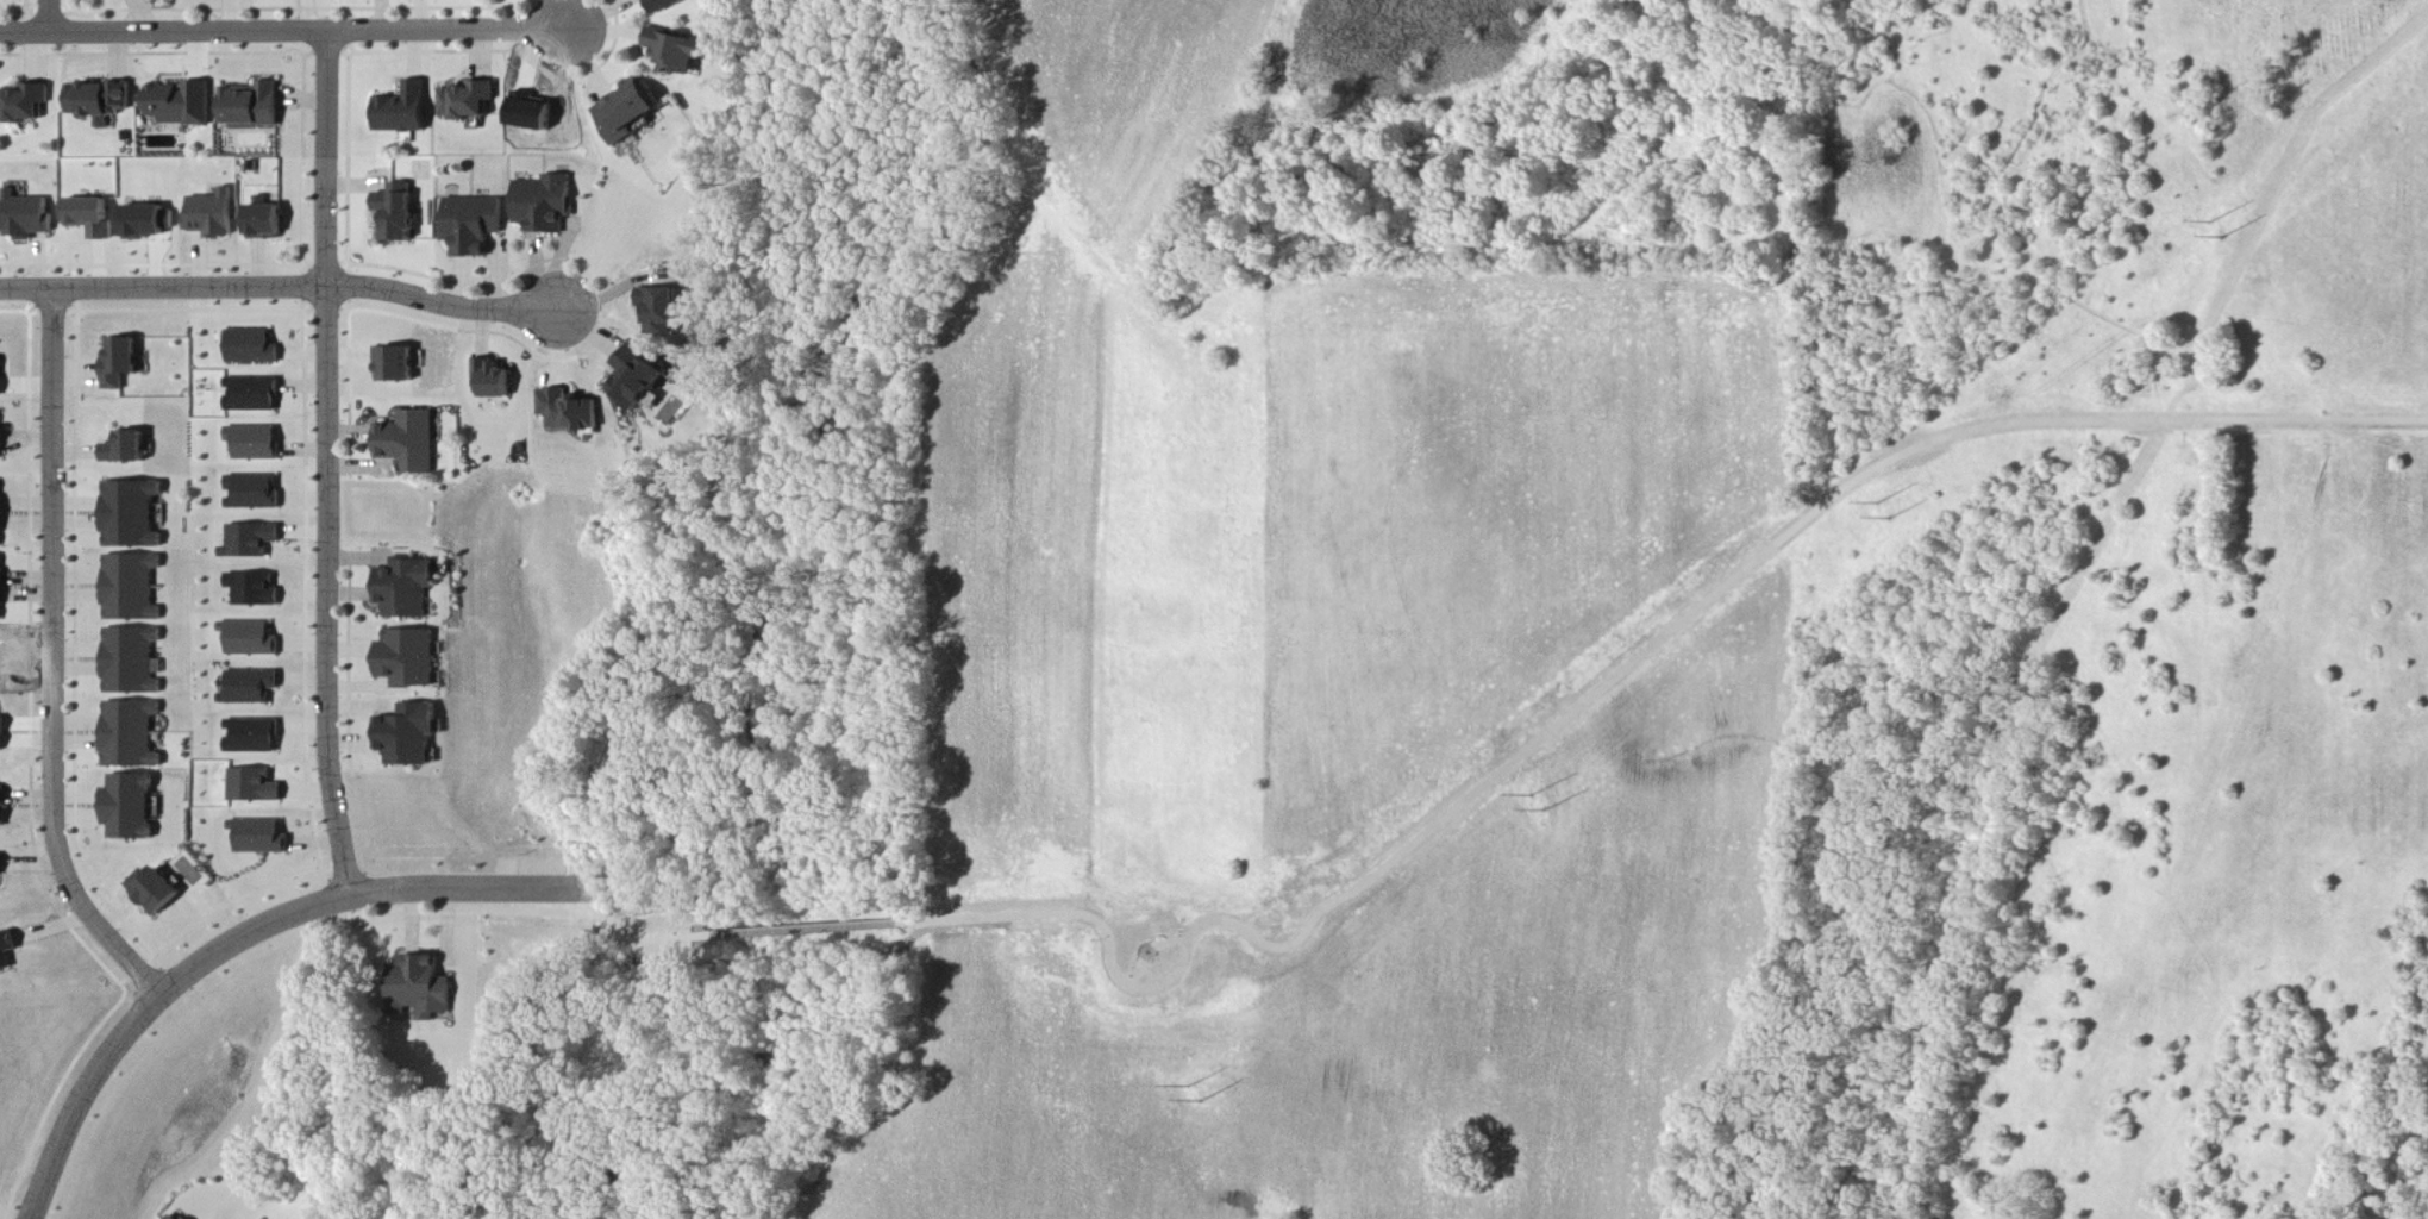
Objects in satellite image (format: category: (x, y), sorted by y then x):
road: (51, 17)
road: (284, 32)
building: (680, 51)
building: (106, 101)
building: (471, 101)
building: (27, 104)
building: (183, 105)
building: (255, 106)
building: (406, 111)
building: (631, 112)
building: (546, 204)
building: (401, 213)
building: (215, 214)
building: (32, 215)
building: (95, 217)
building: (150, 221)
building: (267, 223)
power tower: (2215, 223)
building: (475, 225)
power tower: (2229, 237)
road: (282, 288)
building: (254, 348)
building: (123, 363)
building: (399, 365)
building: (4, 376)
building: (495, 380)
building: (640, 380)
building: (254, 395)
building: (571, 412)
building: (2, 442)
building: (255, 443)
building: (412, 443)
building: (129, 449)
road: (328, 465)
building: (252, 493)
power tower: (1883, 504)
building: (2, 514)
building: (134, 515)
power tower: (1894, 519)
building: (250, 542)
building: (2, 589)
building: (133, 589)
building: (408, 589)
building: (255, 590)
building: (251, 639)
building: (411, 658)
road: (56, 662)
building: (134, 662)
road: (1613, 682)
building: (251, 687)
building: (4, 732)
building: (133, 736)
building: (409, 736)
building: (254, 737)
building: (255, 787)
power tower: (1535, 796)
building: (2, 808)
building: (132, 808)
power tower: (1548, 811)
building: (263, 838)
building: (1, 865)
building: (157, 892)
road: (530, 913)
road: (808, 931)
road: (243, 938)
building: (7, 952)
power tower: (1191, 1087)
power tower: (1202, 1101)
building: (176, 1215)

